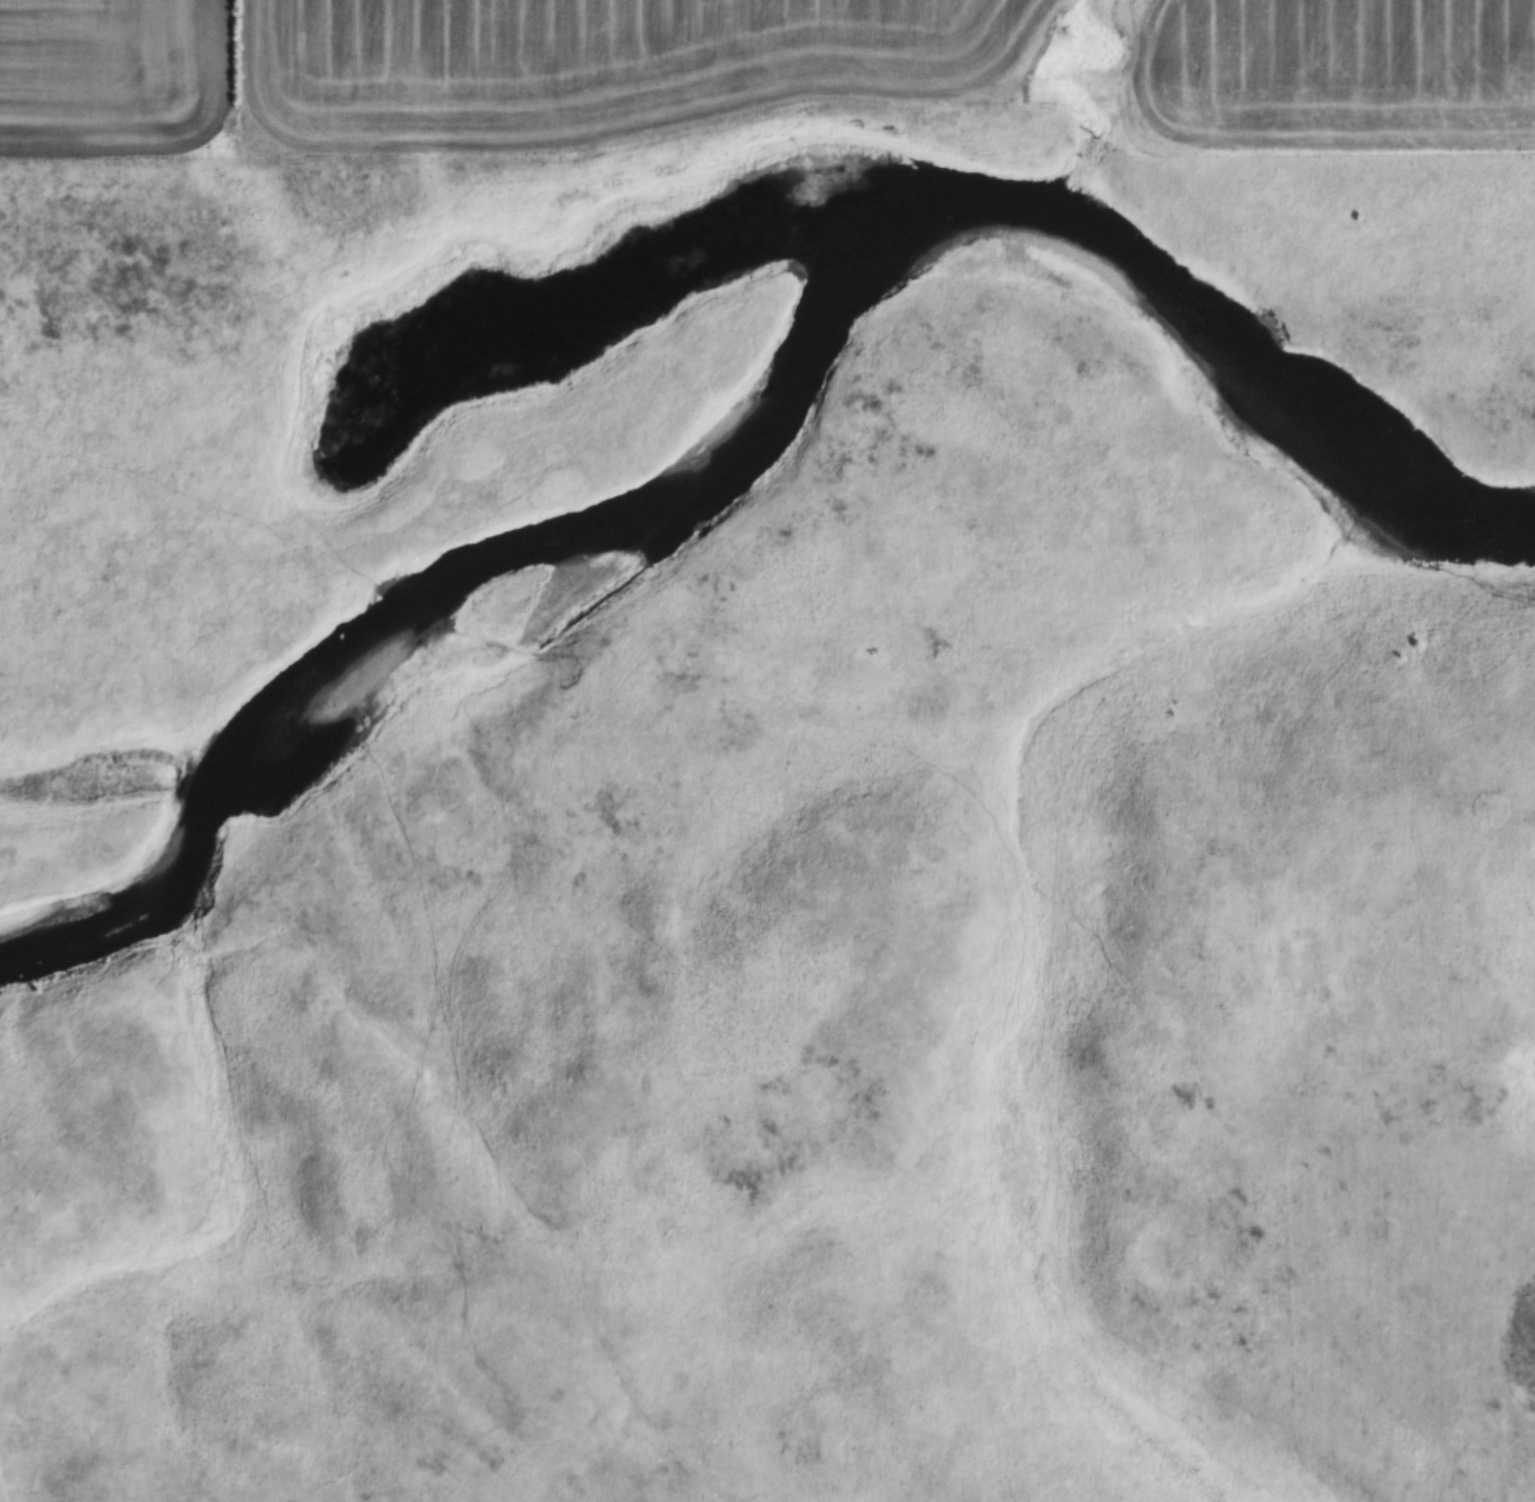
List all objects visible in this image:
river: (771, 424)

